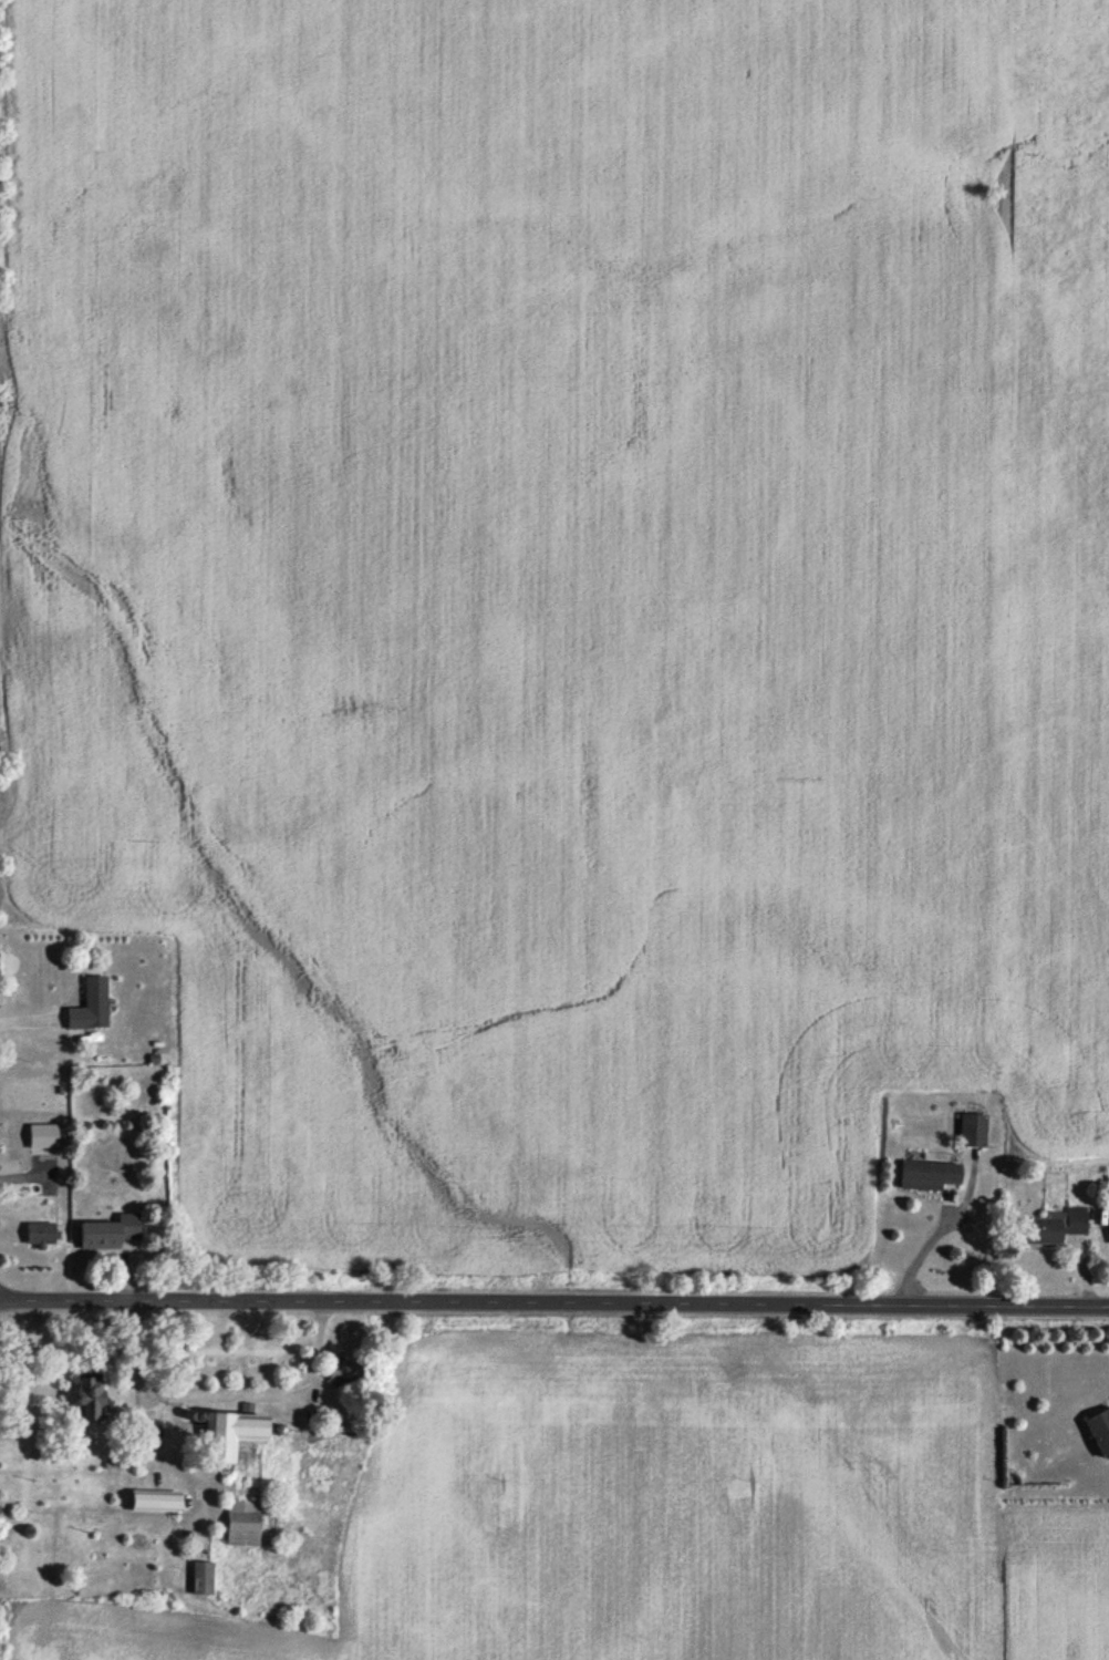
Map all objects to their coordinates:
building: (92, 1006)
building: (970, 1134)
building: (23, 1142)
building: (925, 1179)
building: (1049, 1229)
building: (105, 1237)
building: (37, 1238)
road: (934, 1238)
road: (553, 1306)
building: (333, 1374)
building: (85, 1403)
building: (226, 1437)
building: (151, 1506)
building: (241, 1527)
building: (200, 1582)

